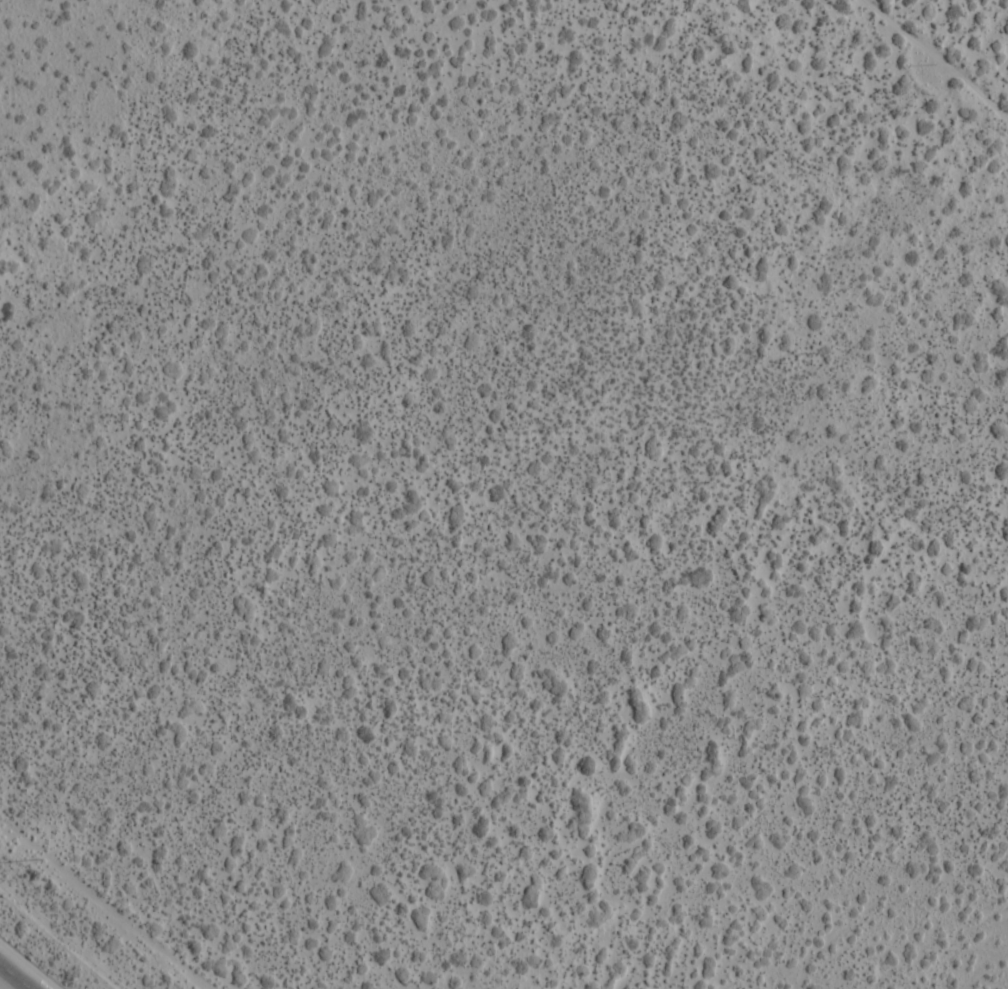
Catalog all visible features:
road: (17, 974)

